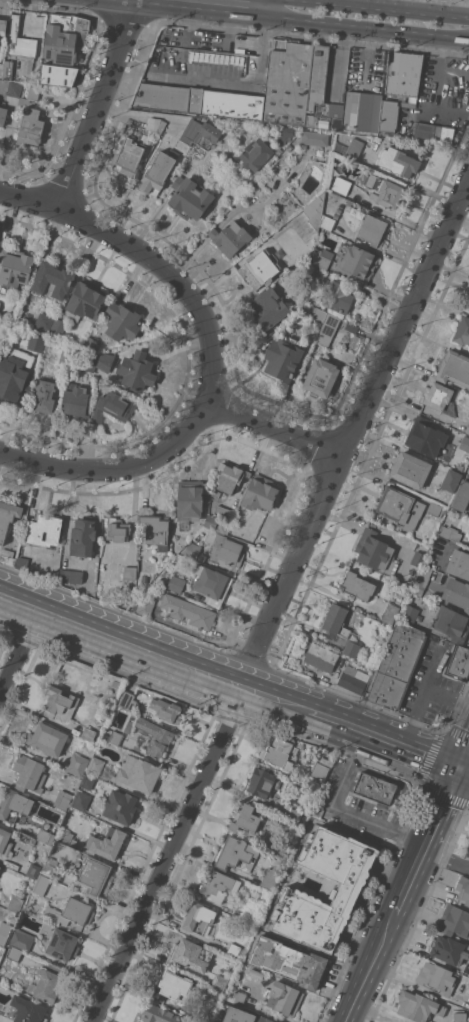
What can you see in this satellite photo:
building: (465, 0)
road: (260, 6)
road: (391, 8)
road: (304, 18)
road: (185, 26)
building: (3, 27)
road: (228, 29)
building: (65, 38)
building: (20, 40)
building: (276, 44)
building: (165, 51)
building: (248, 61)
building: (8, 70)
building: (403, 73)
building: (58, 75)
road: (220, 80)
building: (295, 82)
building: (14, 89)
building: (33, 92)
building: (203, 98)
road: (99, 104)
building: (362, 111)
building: (391, 113)
building: (3, 115)
building: (326, 117)
building: (154, 124)
building: (30, 127)
building: (191, 131)
building: (434, 131)
building: (286, 133)
building: (207, 135)
building: (315, 138)
building: (289, 147)
building: (351, 149)
building: (130, 151)
building: (278, 151)
building: (256, 153)
building: (327, 160)
building: (398, 161)
building: (157, 173)
building: (341, 185)
building: (386, 191)
building: (189, 198)
building: (312, 207)
building: (364, 210)
building: (328, 222)
building: (373, 230)
building: (230, 237)
building: (0, 242)
building: (322, 258)
building: (358, 263)
building: (15, 267)
building: (259, 268)
building: (311, 273)
building: (52, 280)
building: (337, 296)
building: (312, 298)
building: (85, 301)
building: (0, 302)
building: (468, 304)
building: (268, 308)
road: (201, 309)
building: (122, 321)
building: (45, 322)
building: (324, 323)
building: (58, 327)
building: (462, 331)
building: (3, 332)
building: (36, 342)
building: (91, 345)
building: (65, 355)
building: (283, 359)
building: (105, 361)
building: (89, 362)
building: (454, 368)
building: (137, 371)
building: (14, 375)
building: (321, 377)
building: (45, 395)
building: (440, 398)
building: (75, 402)
building: (112, 407)
road: (353, 429)
building: (467, 429)
building: (428, 438)
building: (465, 443)
road: (115, 468)
building: (411, 469)
building: (230, 477)
building: (451, 480)
building: (216, 493)
building: (260, 493)
building: (461, 496)
building: (191, 500)
building: (397, 506)
building: (435, 509)
building: (224, 513)
building: (7, 517)
building: (211, 521)
building: (224, 526)
building: (44, 529)
building: (156, 529)
building: (117, 530)
building: (450, 532)
building: (83, 537)
building: (225, 549)
building: (192, 551)
building: (376, 552)
building: (7, 557)
building: (418, 558)
building: (22, 562)
building: (459, 563)
building: (147, 566)
building: (130, 571)
building: (71, 576)
building: (422, 580)
building: (176, 583)
building: (139, 584)
building: (212, 584)
building: (357, 585)
building: (457, 593)
building: (145, 605)
building: (189, 611)
building: (390, 613)
building: (409, 615)
road: (17, 617)
road: (106, 620)
building: (338, 624)
building: (452, 624)
road: (31, 631)
building: (351, 648)
road: (119, 655)
building: (319, 655)
building: (458, 664)
building: (397, 666)
road: (14, 669)
building: (353, 679)
road: (224, 680)
building: (116, 683)
road: (422, 699)
building: (127, 700)
road: (447, 701)
road: (237, 703)
building: (60, 704)
building: (167, 710)
road: (350, 728)
building: (89, 733)
building: (115, 737)
building: (155, 737)
building: (47, 739)
building: (281, 753)
road: (463, 756)
building: (78, 762)
building: (95, 766)
building: (320, 768)
traffic signals: (458, 769)
road: (463, 771)
building: (29, 773)
building: (138, 773)
building: (87, 782)
building: (263, 782)
building: (374, 788)
building: (63, 800)
building: (81, 800)
building: (14, 805)
building: (120, 806)
building: (316, 810)
road: (341, 811)
building: (296, 815)
building: (245, 818)
building: (45, 836)
building: (65, 837)
road: (425, 840)
building: (5, 842)
building: (107, 843)
building: (282, 847)
building: (235, 853)
road: (446, 856)
building: (49, 865)
building: (0, 867)
building: (33, 870)
road: (161, 870)
building: (95, 876)
building: (271, 877)
building: (41, 884)
building: (218, 885)
building: (349, 888)
building: (463, 889)
building: (15, 903)
building: (252, 910)
building: (72, 912)
building: (198, 917)
building: (454, 921)
building: (4, 932)
building: (22, 939)
building: (63, 944)
building: (234, 949)
building: (448, 949)
building: (14, 953)
building: (189, 955)
building: (289, 961)
road: (368, 967)
building: (255, 974)
building: (437, 978)
building: (219, 982)
building: (47, 985)
building: (173, 986)
building: (239, 997)
building: (284, 998)
building: (418, 1006)
building: (26, 1010)
building: (159, 1014)
building: (0, 1015)
building: (202, 1016)
building: (244, 1016)
building: (460, 1016)
building: (195, 1021)

